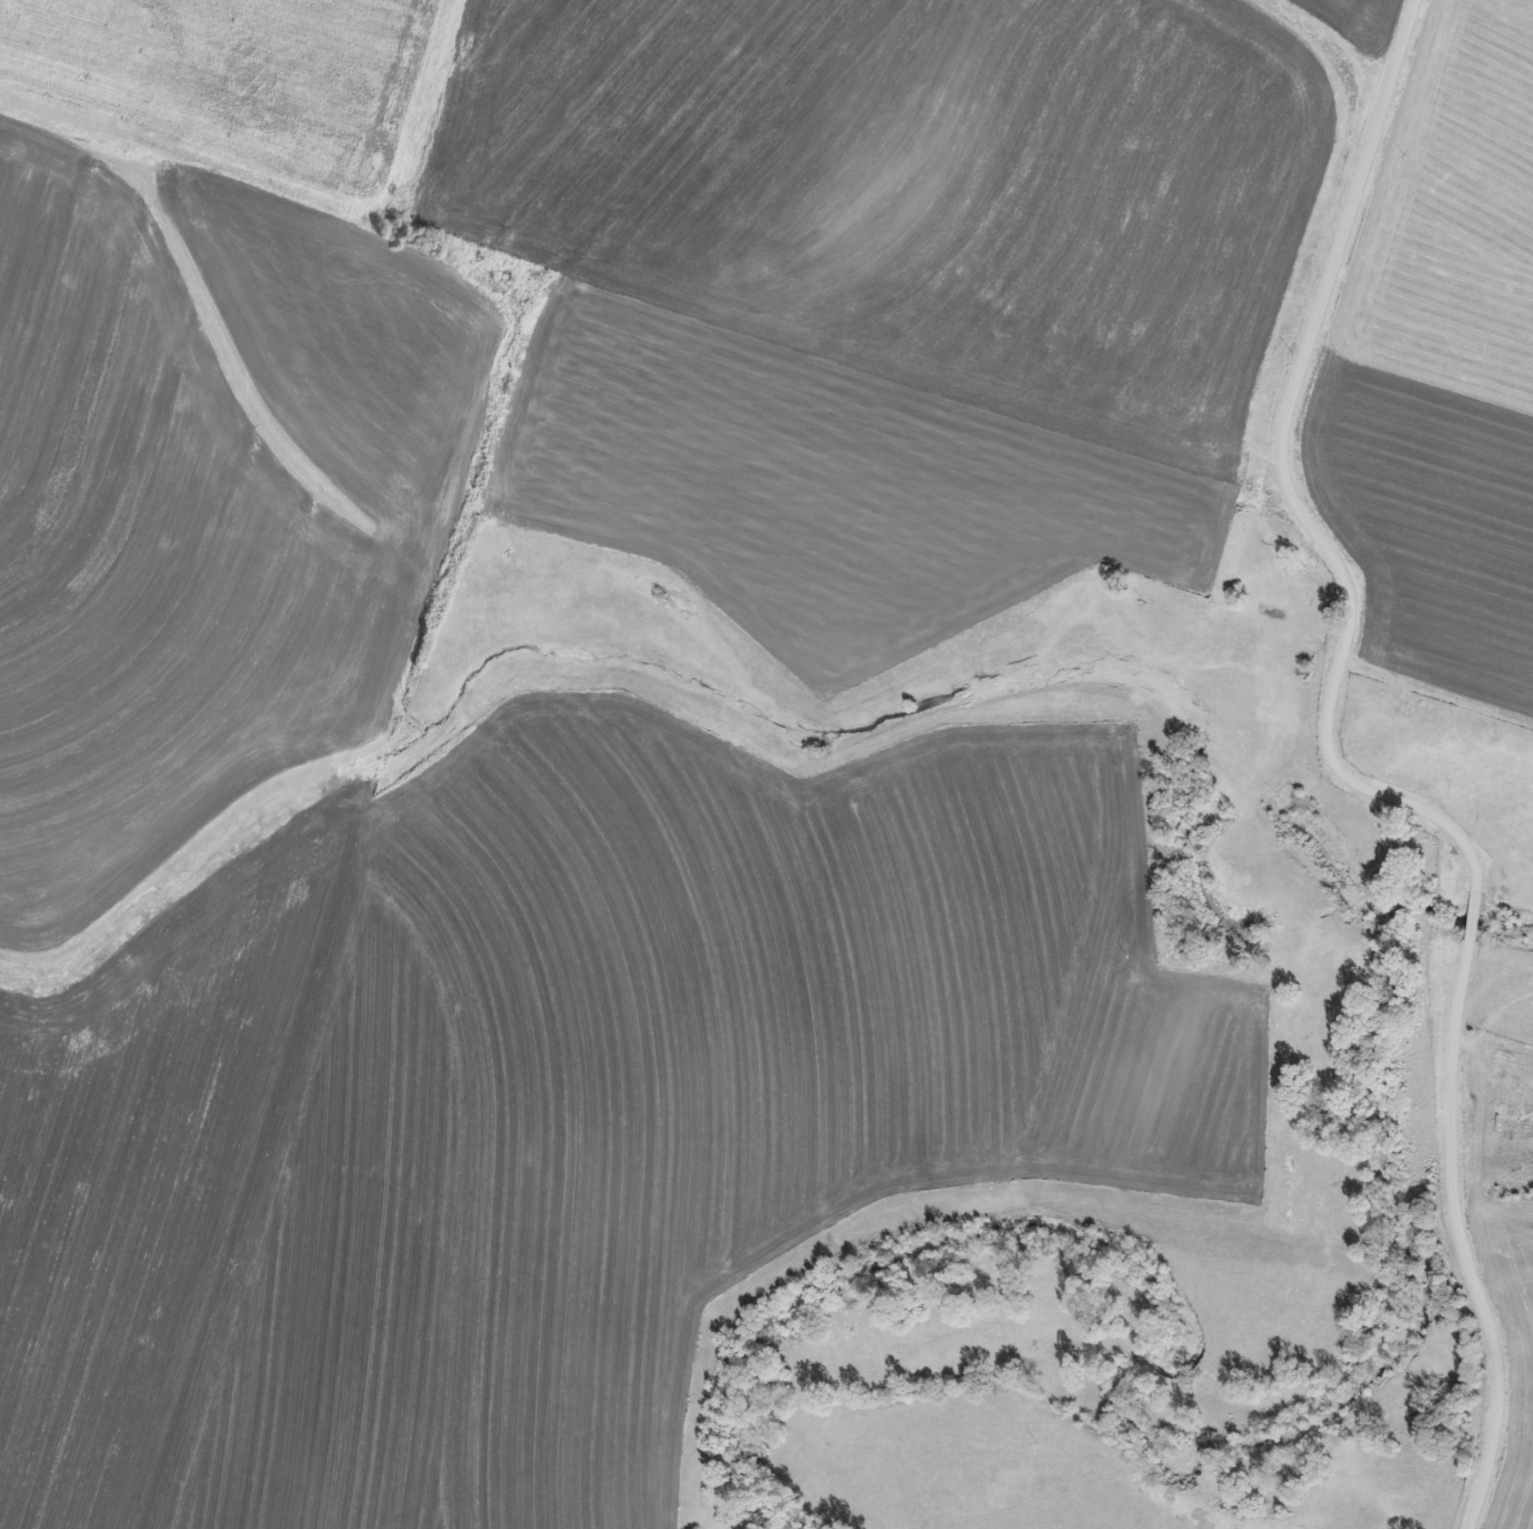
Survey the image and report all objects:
road: (1351, 781)

